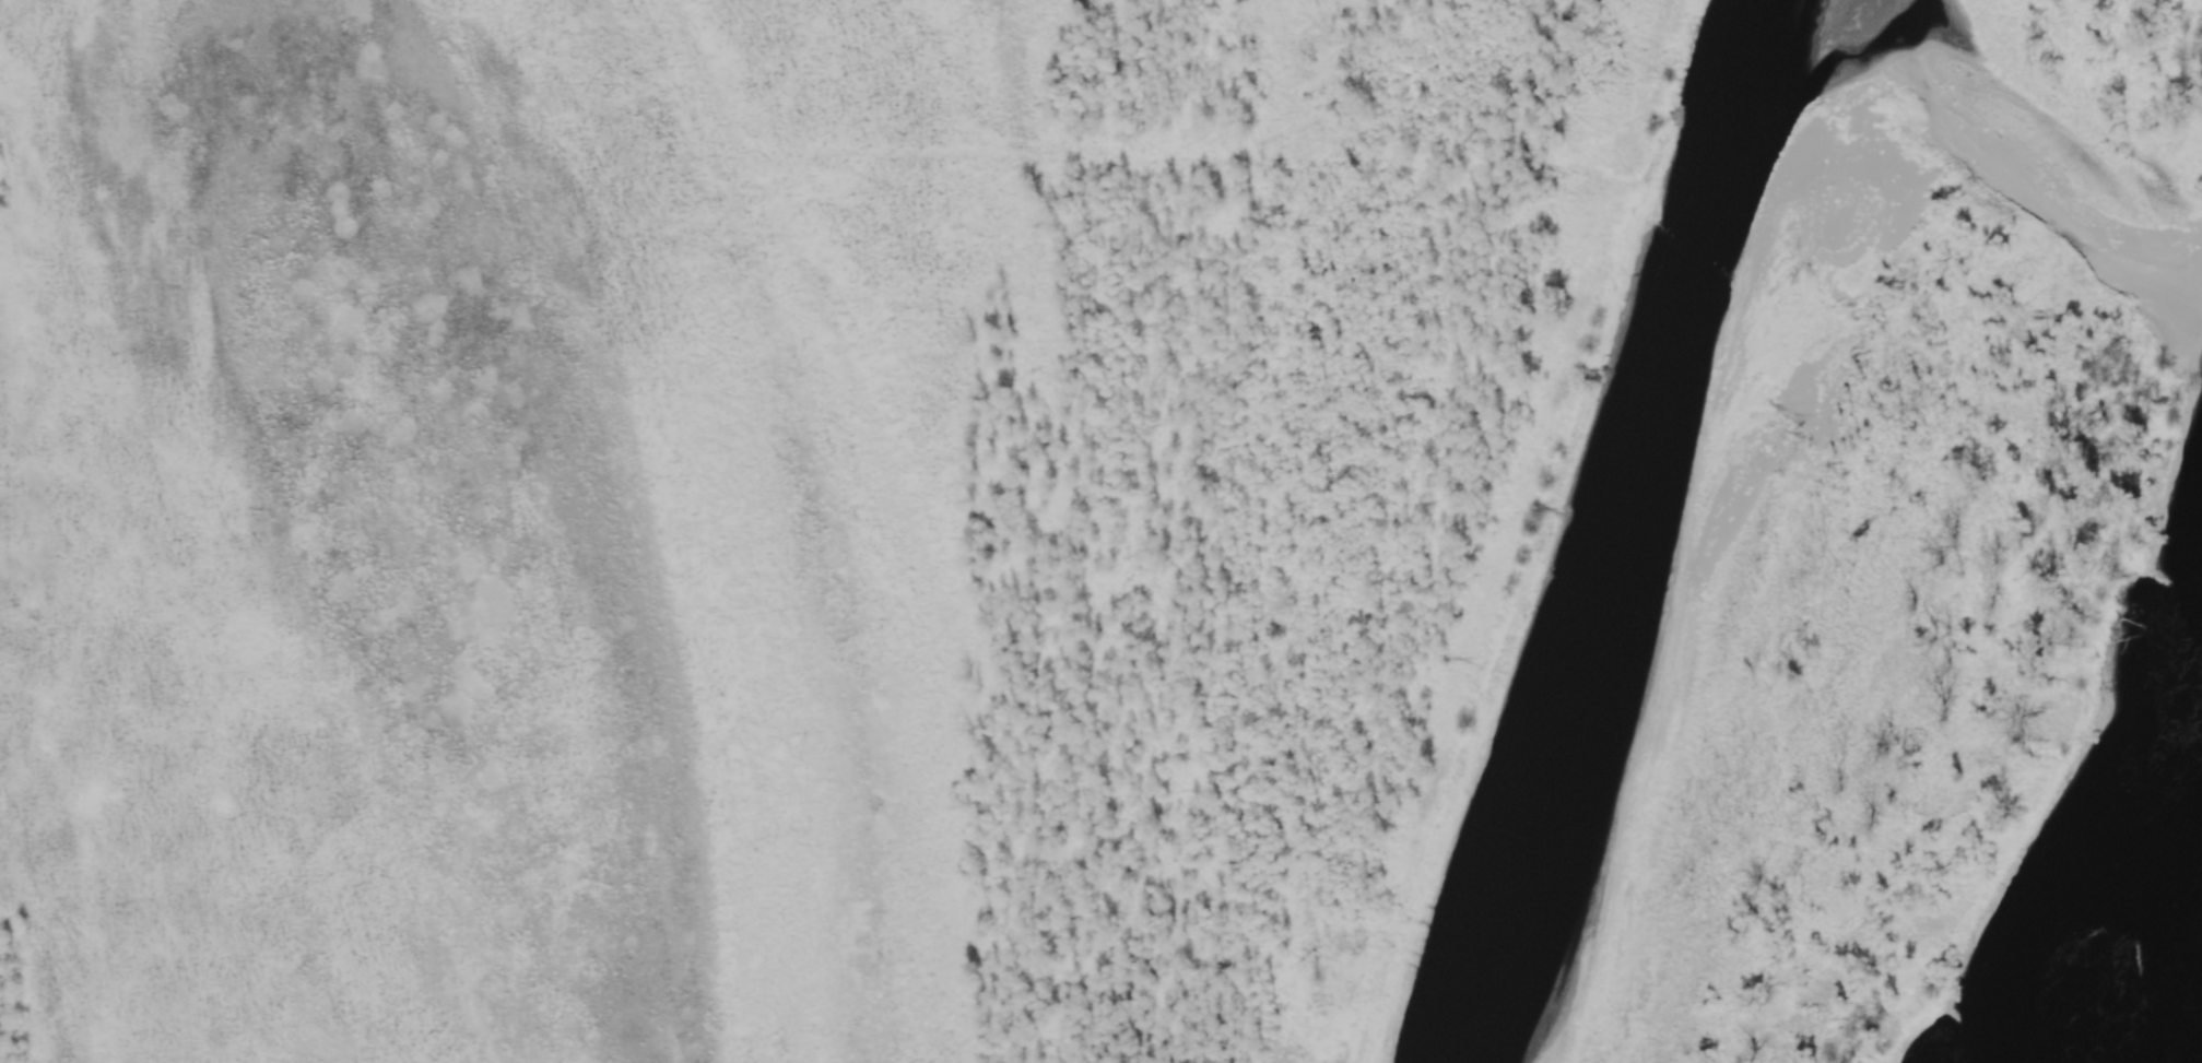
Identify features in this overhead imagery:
road: (1503, 532)

